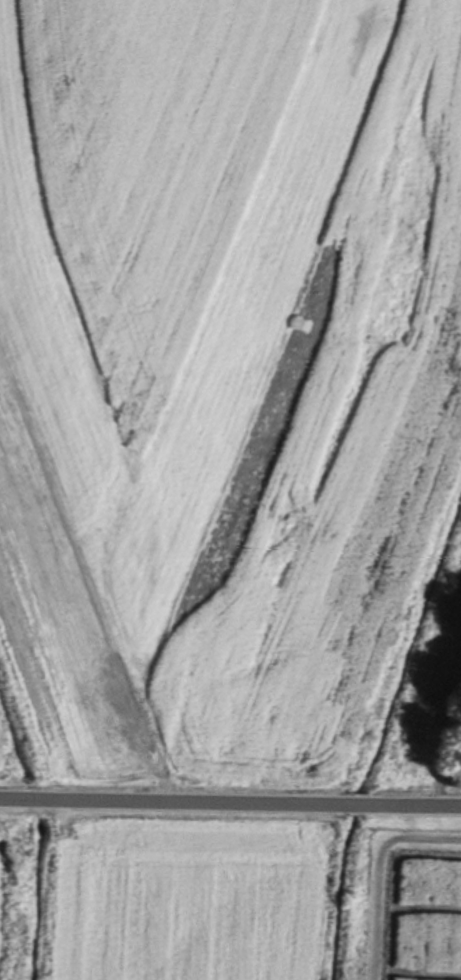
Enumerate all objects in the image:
road: (230, 802)

